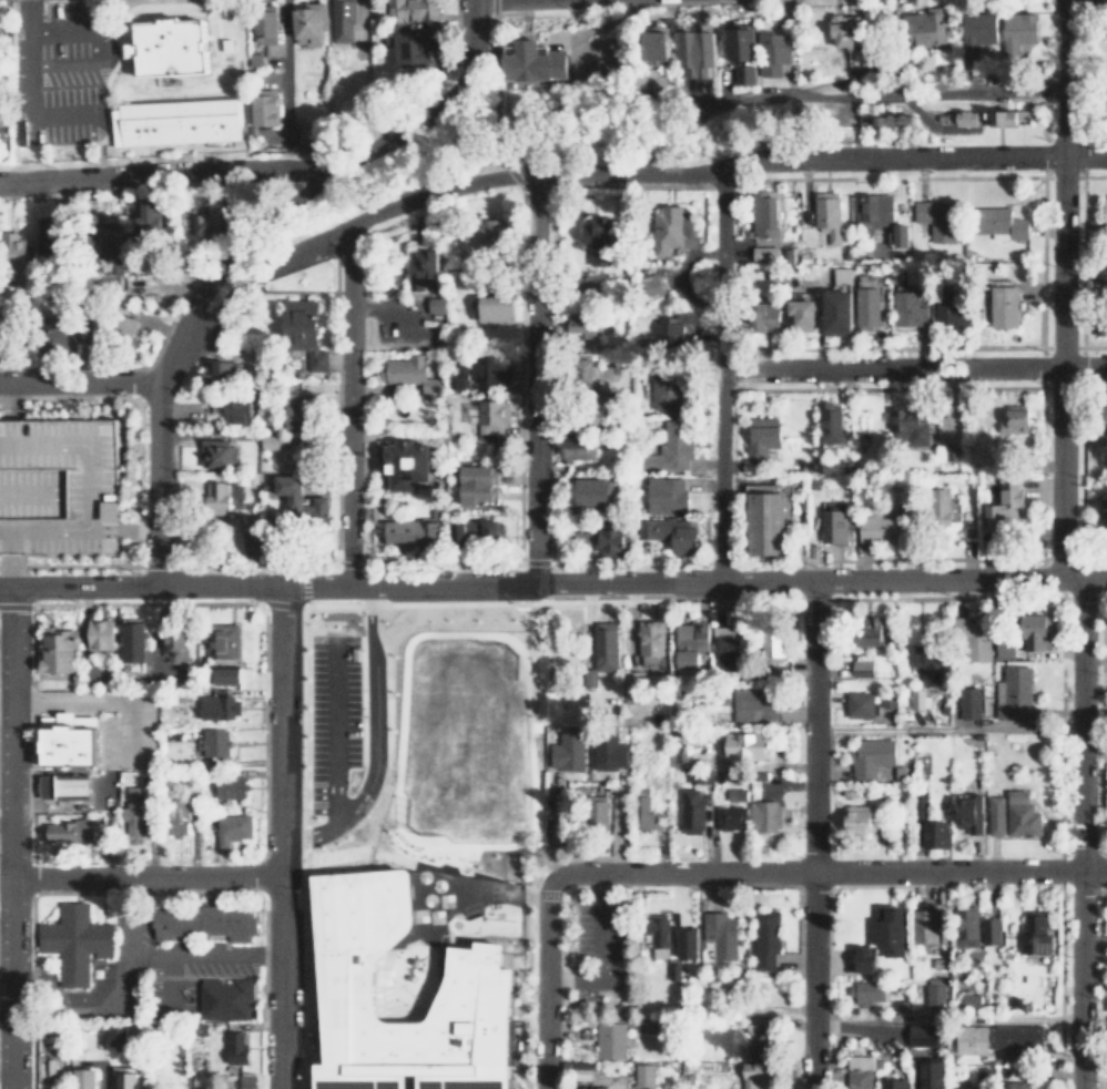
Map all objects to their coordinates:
building: (412, 10)
building: (0, 16)
building: (343, 21)
building: (311, 24)
building: (265, 26)
building: (925, 26)
road: (59, 28)
road: (494, 29)
building: (846, 29)
building: (1017, 30)
building: (977, 32)
building: (740, 42)
building: (659, 43)
building: (169, 45)
building: (409, 45)
building: (697, 51)
building: (773, 51)
building: (532, 61)
road: (59, 64)
building: (744, 73)
road: (902, 91)
road: (21, 93)
building: (264, 106)
building: (1003, 115)
building: (969, 116)
building: (895, 119)
building: (177, 121)
building: (314, 132)
park: (499, 151)
road: (502, 162)
road: (160, 174)
road: (633, 174)
building: (875, 210)
building: (1105, 210)
building: (829, 213)
building: (765, 214)
building: (151, 216)
building: (937, 217)
building: (1003, 223)
building: (206, 224)
building: (673, 228)
building: (491, 232)
building: (901, 234)
building: (50, 236)
building: (600, 241)
road: (236, 243)
building: (14, 250)
building: (764, 253)
building: (425, 269)
building: (1104, 269)
building: (842, 275)
building: (654, 284)
building: (910, 304)
building: (436, 305)
building: (1004, 305)
building: (867, 306)
building: (949, 306)
building: (497, 309)
building: (802, 312)
building: (839, 312)
building: (769, 316)
building: (581, 323)
building: (114, 327)
building: (684, 327)
building: (304, 330)
building: (57, 337)
road: (912, 367)
building: (221, 370)
building: (481, 372)
building: (409, 373)
road: (718, 377)
road: (531, 379)
road: (78, 380)
building: (666, 388)
road: (0, 397)
road: (346, 405)
building: (296, 409)
building: (232, 410)
building: (492, 417)
building: (1016, 418)
building: (830, 421)
building: (910, 427)
building: (762, 436)
building: (270, 440)
building: (577, 449)
building: (669, 449)
building: (217, 454)
building: (298, 454)
building: (406, 462)
building: (58, 484)
parking lot: (58, 484)
building: (477, 484)
building: (592, 490)
building: (666, 495)
building: (217, 497)
building: (299, 497)
building: (1007, 503)
building: (945, 506)
building: (1104, 513)
building: (766, 522)
building: (834, 526)
building: (494, 528)
building: (883, 528)
road: (135, 529)
building: (413, 531)
building: (468, 531)
building: (671, 532)
building: (586, 536)
building: (612, 540)
road: (1058, 547)
road: (8, 570)
road: (553, 584)
building: (874, 631)
building: (1037, 631)
building: (97, 637)
building: (973, 638)
building: (773, 640)
building: (650, 641)
building: (690, 642)
building: (220, 643)
building: (129, 644)
building: (606, 644)
building: (1004, 648)
building: (54, 650)
building: (728, 652)
building: (172, 659)
building: (926, 663)
building: (863, 666)
building: (226, 675)
building: (631, 689)
building: (1014, 692)
building: (920, 698)
building: (969, 702)
building: (752, 704)
building: (861, 704)
building: (216, 708)
road: (373, 712)
road: (945, 726)
road: (333, 730)
building: (71, 740)
park: (464, 740)
building: (747, 744)
building: (212, 749)
building: (570, 750)
building: (609, 753)
building: (872, 756)
building: (700, 776)
building: (77, 785)
building: (225, 787)
building: (133, 791)
building: (737, 793)
building: (921, 806)
building: (692, 810)
building: (597, 812)
building: (969, 813)
building: (1022, 813)
building: (647, 814)
building: (764, 815)
building: (996, 815)
building: (731, 816)
building: (862, 818)
building: (128, 821)
building: (173, 826)
road: (4, 828)
building: (226, 830)
building: (67, 831)
building: (936, 833)
road: (812, 834)
road: (307, 836)
road: (278, 837)
road: (10, 838)
road: (829, 869)
road: (139, 874)
building: (200, 924)
building: (926, 924)
building: (967, 926)
building: (892, 930)
building: (992, 930)
building: (1035, 933)
building: (659, 934)
building: (720, 934)
building: (765, 938)
building: (674, 939)
building: (71, 942)
building: (689, 943)
road: (156, 956)
building: (866, 958)
building: (673, 970)
building: (483, 980)
road: (544, 981)
building: (935, 990)
building: (869, 994)
building: (223, 998)
building: (972, 999)
road: (75, 1003)
building: (756, 1034)
building: (923, 1034)
building: (119, 1036)
building: (998, 1037)
building: (611, 1039)
building: (233, 1047)
building: (583, 1070)
building: (859, 1071)
building: (755, 1072)
building: (644, 1075)
building: (933, 1075)
building: (81, 1079)
building: (121, 1080)
building: (199, 1080)
building: (892, 1082)
building: (1014, 1085)
building: (598, 1087)
building: (968, 1088)

